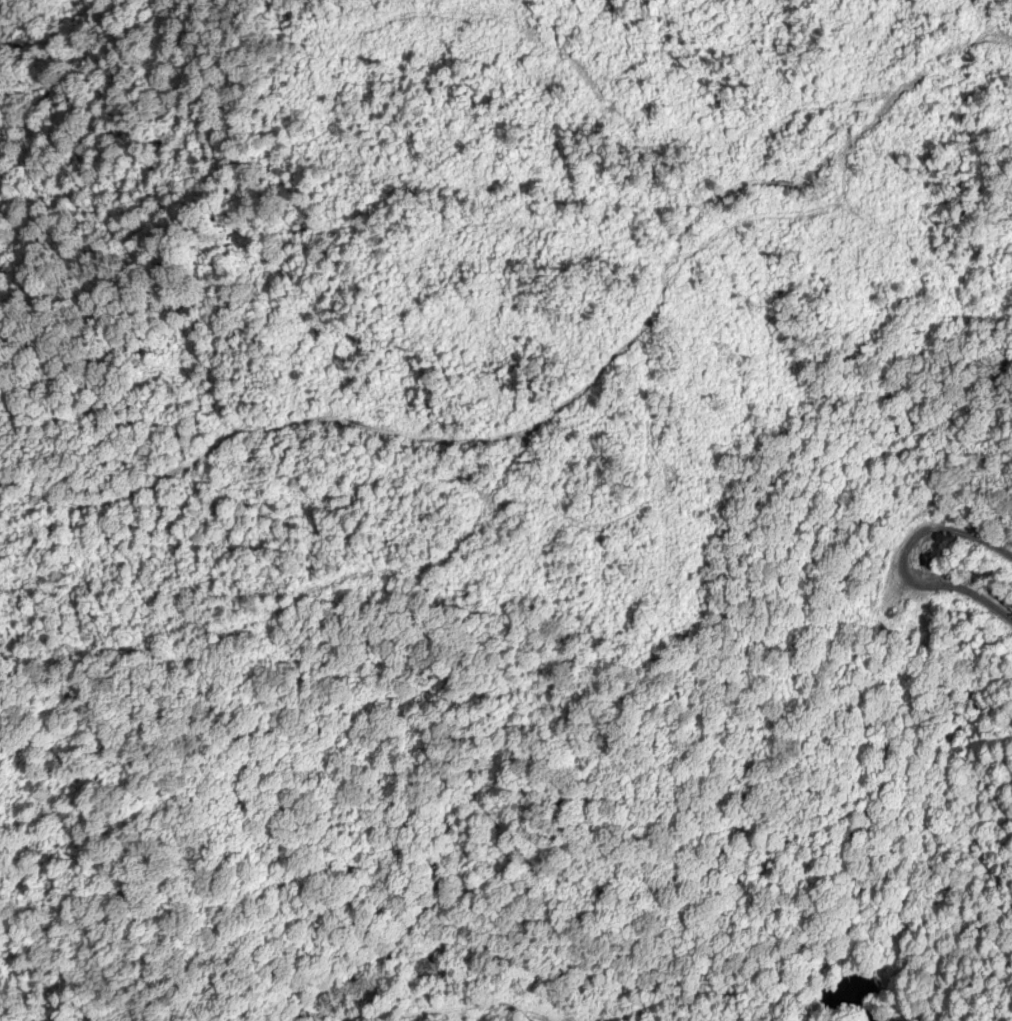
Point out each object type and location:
road: (907, 558)

